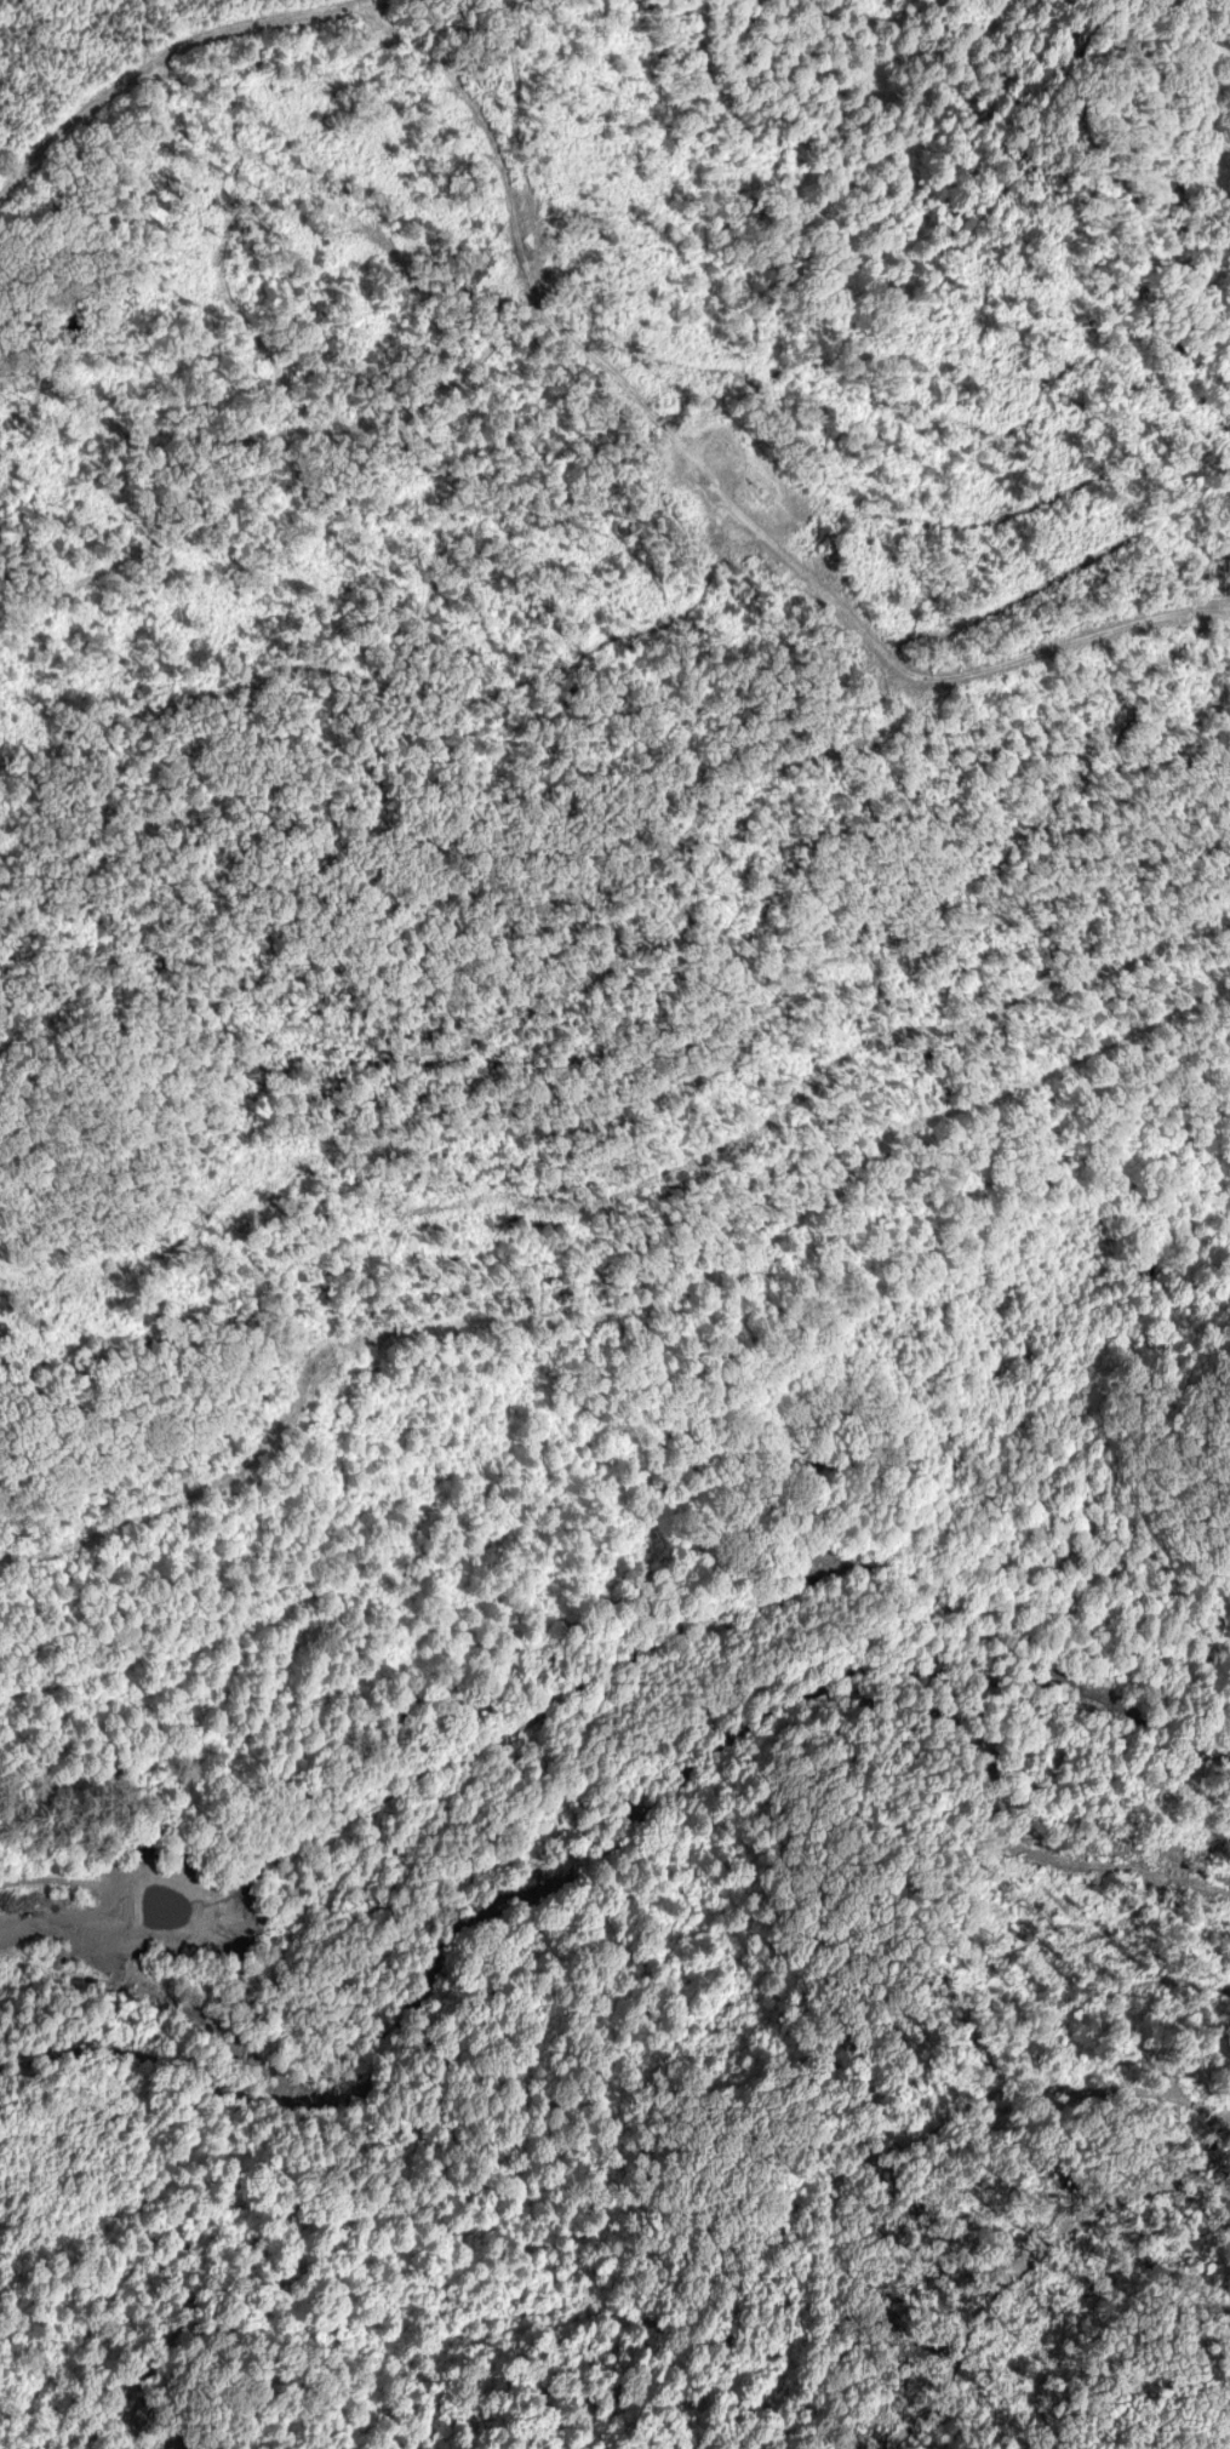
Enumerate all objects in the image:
road: (67, 1879)

